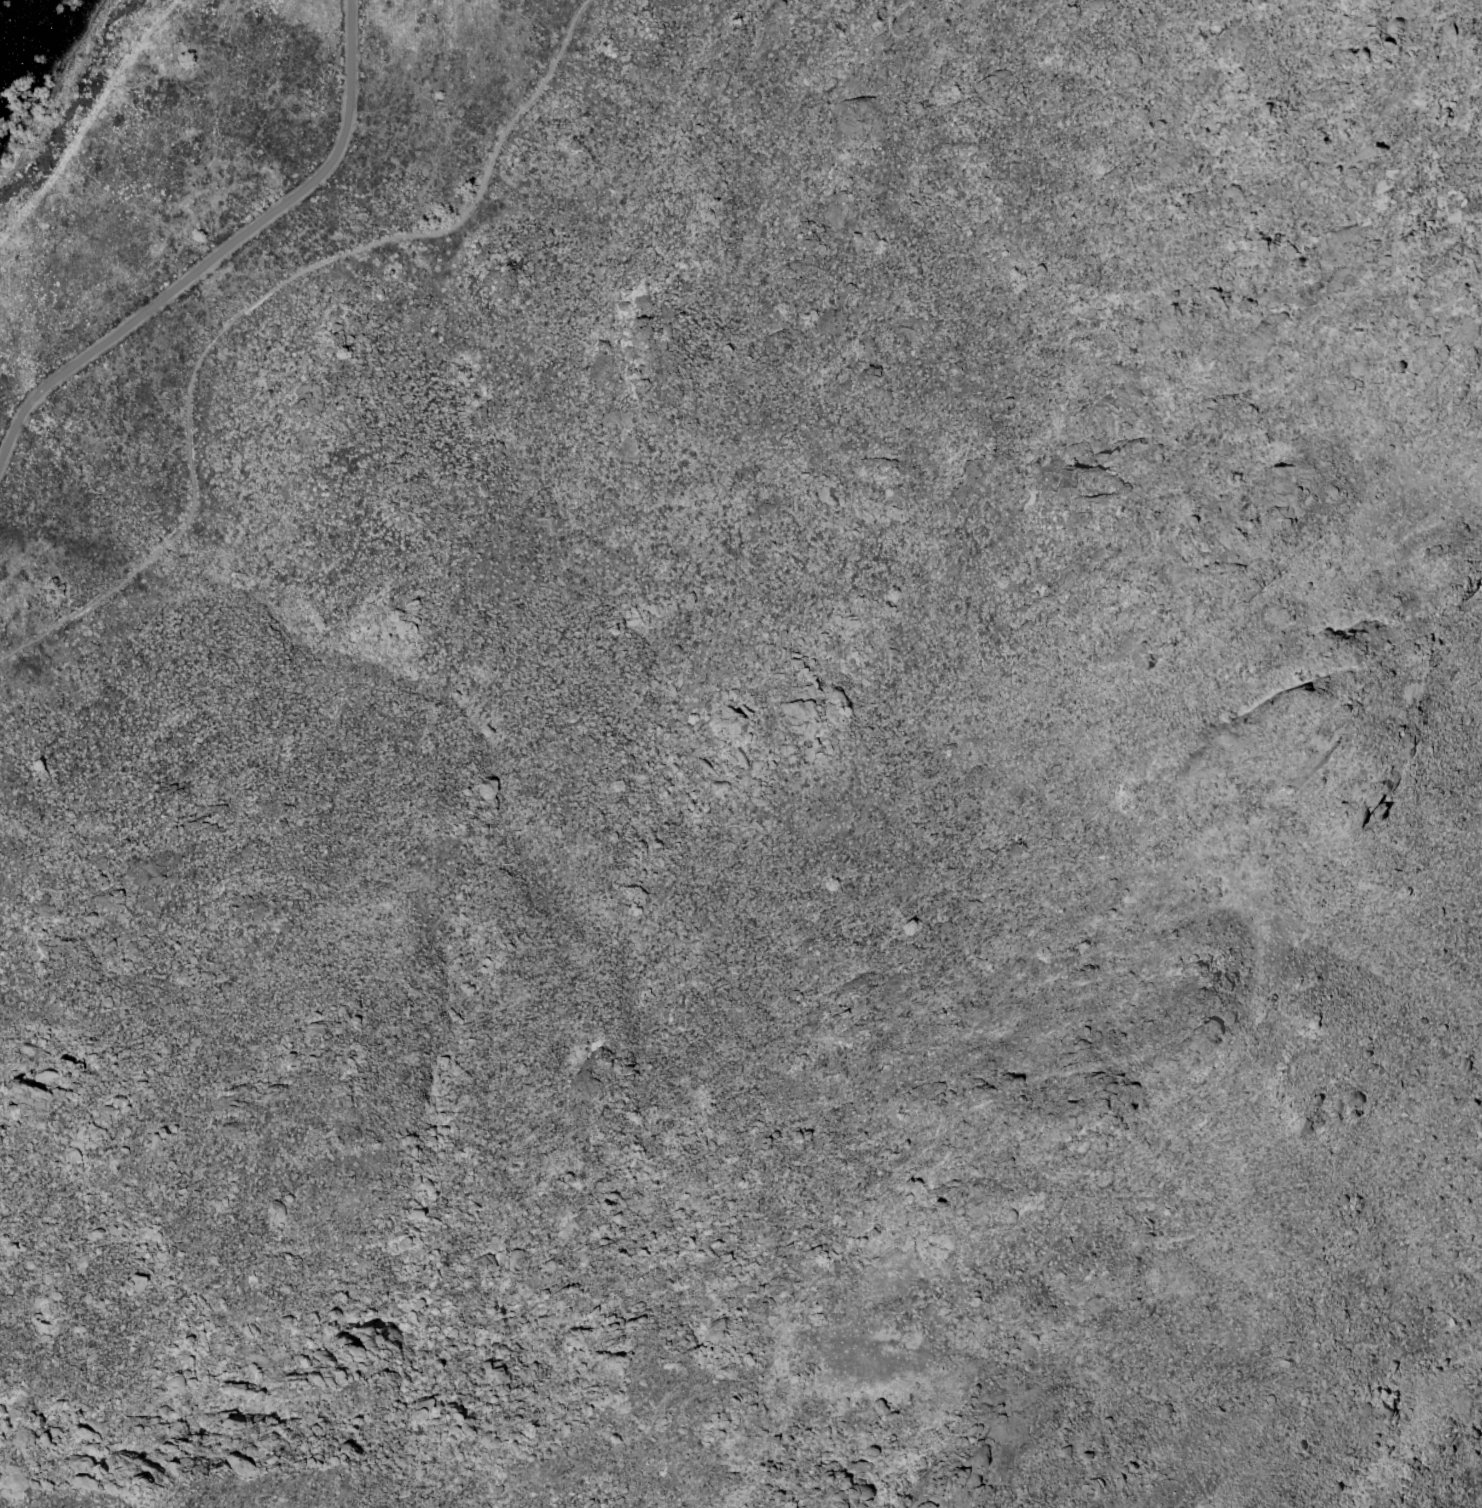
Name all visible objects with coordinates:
road: (220, 253)
road: (256, 303)

